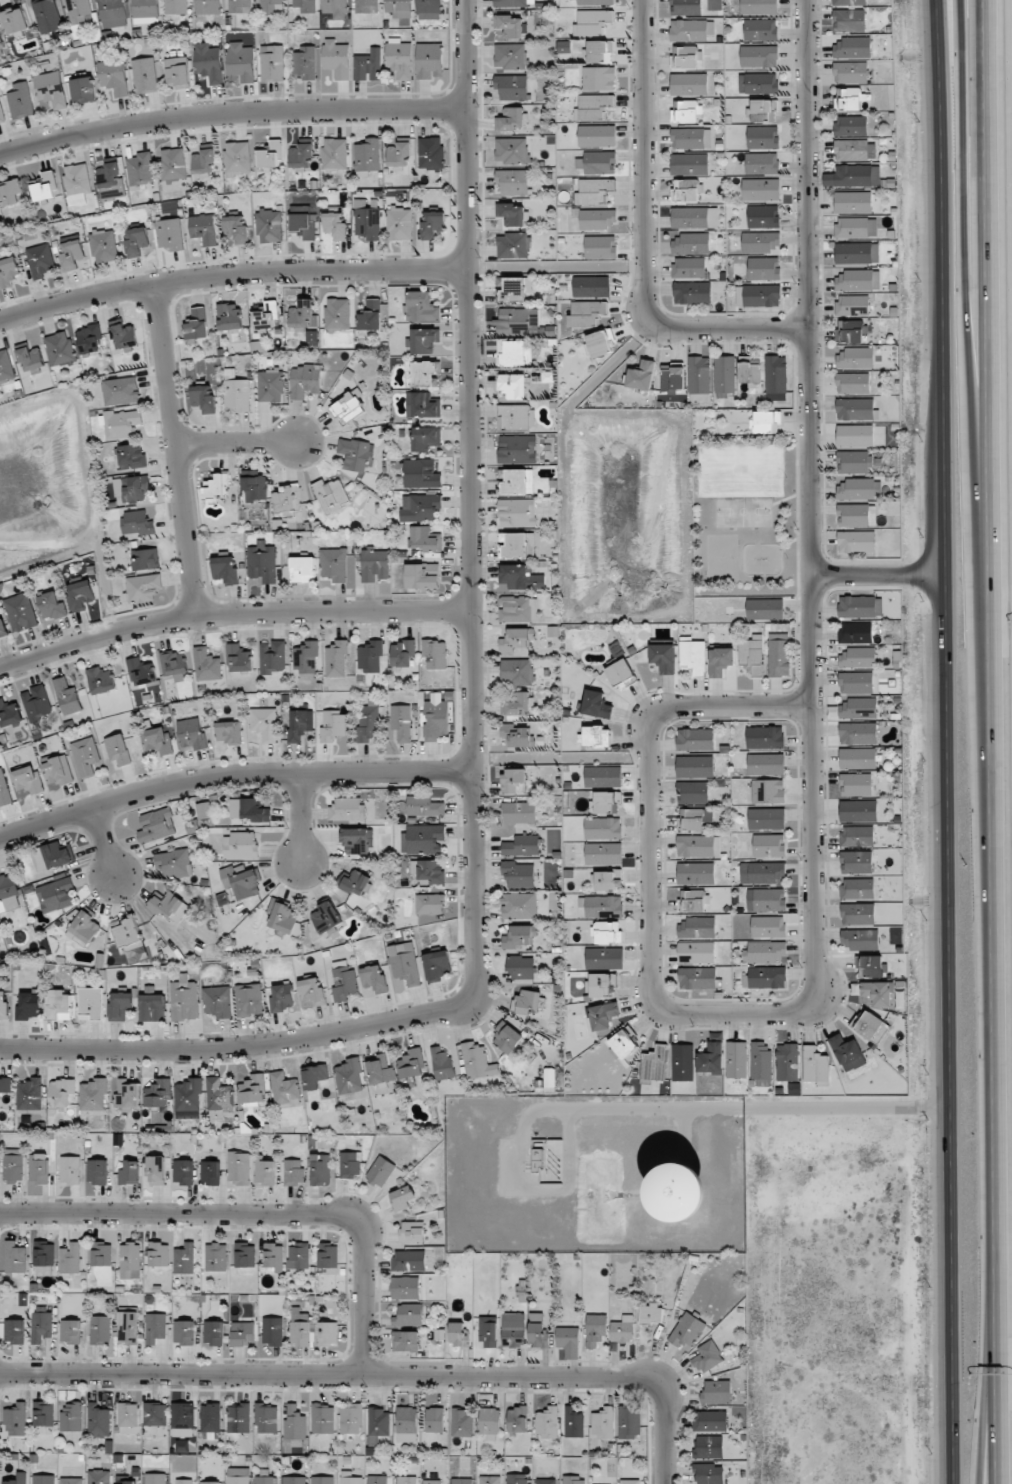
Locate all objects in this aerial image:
building: (595, 2)
building: (849, 2)
building: (513, 3)
building: (305, 5)
building: (176, 6)
building: (208, 6)
building: (240, 6)
building: (334, 6)
building: (366, 6)
building: (759, 6)
building: (272, 7)
building: (685, 7)
building: (397, 8)
building: (429, 9)
building: (145, 11)
building: (79, 12)
building: (113, 13)
building: (47, 15)
building: (15, 20)
building: (849, 20)
building: (592, 22)
building: (511, 26)
building: (760, 29)
building: (688, 30)
building: (1, 46)
building: (564, 47)
building: (852, 48)
building: (600, 51)
building: (510, 56)
building: (687, 56)
building: (759, 56)
building: (399, 57)
building: (336, 58)
building: (428, 59)
building: (208, 62)
building: (240, 62)
building: (304, 62)
building: (272, 63)
building: (368, 65)
building: (176, 71)
building: (851, 72)
building: (144, 75)
building: (114, 77)
building: (599, 78)
building: (758, 82)
building: (689, 84)
building: (511, 87)
building: (51, 89)
building: (84, 90)
building: (849, 99)
building: (20, 101)
building: (593, 106)
building: (764, 110)
building: (686, 111)
building: (1, 114)
road: (230, 115)
building: (510, 119)
building: (851, 125)
building: (597, 136)
building: (763, 137)
building: (690, 138)
building: (512, 150)
building: (855, 150)
building: (430, 152)
building: (334, 154)
building: (398, 154)
building: (270, 155)
building: (300, 155)
building: (368, 155)
building: (237, 158)
building: (599, 162)
building: (203, 163)
building: (762, 163)
building: (173, 164)
building: (689, 164)
building: (140, 168)
building: (853, 176)
building: (110, 180)
building: (513, 182)
building: (77, 183)
building: (45, 189)
building: (760, 189)
building: (686, 190)
building: (11, 191)
building: (594, 191)
building: (853, 202)
building: (512, 214)
building: (763, 216)
building: (694, 217)
building: (596, 219)
building: (367, 220)
building: (400, 223)
building: (303, 224)
building: (432, 224)
building: (335, 225)
building: (269, 226)
building: (855, 227)
building: (203, 229)
building: (235, 229)
building: (170, 234)
building: (136, 242)
building: (761, 242)
road: (644, 243)
building: (691, 243)
building: (104, 245)
building: (512, 245)
building: (600, 247)
building: (857, 253)
building: (71, 254)
building: (39, 260)
building: (689, 267)
building: (764, 268)
building: (8, 272)
road: (231, 274)
building: (858, 280)
building: (591, 286)
building: (514, 288)
building: (692, 292)
building: (758, 296)
building: (852, 305)
building: (421, 307)
building: (585, 313)
building: (337, 314)
building: (302, 315)
building: (370, 315)
building: (228, 316)
building: (266, 316)
building: (512, 320)
building: (196, 324)
building: (849, 331)
building: (125, 336)
building: (89, 339)
building: (424, 340)
building: (598, 344)
building: (60, 349)
road: (973, 350)
building: (511, 353)
building: (30, 358)
building: (855, 358)
building: (6, 367)
building: (749, 371)
building: (421, 374)
building: (776, 374)
building: (641, 375)
building: (724, 376)
building: (699, 378)
building: (304, 380)
building: (673, 380)
building: (853, 383)
building: (270, 386)
building: (513, 386)
building: (120, 391)
building: (236, 392)
building: (203, 398)
building: (422, 405)
building: (348, 407)
building: (854, 409)
building: (513, 416)
building: (766, 422)
building: (120, 423)
building: (855, 435)
building: (426, 438)
road: (237, 444)
building: (517, 448)
road: (177, 452)
building: (356, 454)
building: (131, 456)
building: (853, 462)
building: (421, 474)
building: (517, 481)
building: (216, 487)
building: (255, 488)
building: (136, 489)
building: (856, 489)
building: (331, 495)
road: (791, 497)
building: (287, 498)
road: (471, 503)
building: (420, 507)
park: (744, 511)
building: (517, 512)
park: (746, 515)
building: (856, 515)
building: (137, 522)
road: (795, 538)
building: (426, 539)
building: (856, 541)
building: (517, 544)
building: (144, 559)
building: (262, 562)
building: (337, 565)
building: (374, 565)
building: (301, 569)
building: (225, 570)
road: (879, 573)
building: (422, 575)
building: (520, 577)
building: (142, 587)
road: (812, 588)
building: (80, 595)
building: (50, 605)
building: (860, 606)
building: (518, 609)
building: (764, 609)
building: (20, 612)
road: (232, 616)
building: (2, 627)
building: (855, 632)
building: (517, 640)
building: (402, 653)
building: (434, 654)
building: (752, 654)
building: (692, 655)
building: (778, 655)
building: (272, 656)
building: (369, 656)
building: (663, 657)
building: (856, 657)
building: (239, 658)
building: (335, 658)
building: (306, 660)
building: (720, 661)
building: (173, 663)
building: (206, 665)
building: (516, 671)
building: (140, 672)
building: (620, 673)
building: (100, 680)
building: (856, 682)
building: (67, 697)
building: (36, 703)
building: (517, 703)
building: (596, 704)
building: (9, 714)
building: (436, 718)
building: (368, 721)
building: (401, 722)
building: (264, 723)
building: (333, 725)
building: (297, 726)
building: (228, 732)
building: (858, 733)
building: (191, 734)
building: (516, 735)
building: (764, 737)
building: (695, 739)
building: (157, 740)
road: (948, 741)
road: (990, 742)
building: (118, 749)
building: (85, 756)
building: (857, 758)
building: (766, 764)
building: (695, 766)
building: (57, 771)
building: (603, 775)
road: (649, 776)
road: (232, 777)
building: (27, 779)
building: (512, 779)
building: (856, 784)
building: (4, 791)
building: (768, 791)
building: (692, 792)
building: (606, 802)
building: (424, 806)
building: (347, 809)
building: (248, 810)
building: (858, 810)
building: (519, 812)
road: (304, 818)
building: (766, 818)
building: (156, 825)
building: (603, 828)
building: (857, 836)
building: (425, 839)
building: (356, 840)
road: (106, 841)
building: (240, 845)
building: (521, 845)
building: (769, 845)
building: (698, 846)
building: (603, 853)
building: (53, 856)
building: (856, 862)
building: (173, 864)
building: (430, 871)
building: (766, 872)
building: (696, 873)
building: (519, 874)
building: (608, 880)
building: (242, 882)
building: (356, 883)
building: (857, 888)
building: (8, 893)
building: (56, 894)
building: (693, 900)
building: (766, 900)
building: (429, 904)
building: (519, 905)
building: (169, 906)
building: (600, 906)
building: (857, 914)
building: (326, 917)
building: (284, 918)
building: (84, 927)
building: (697, 927)
building: (768, 927)
building: (607, 933)
building: (128, 934)
building: (518, 937)
building: (859, 939)
building: (696, 952)
building: (765, 952)
building: (604, 957)
building: (404, 964)
building: (438, 965)
building: (870, 966)
building: (521, 967)
building: (767, 977)
building: (698, 978)
building: (344, 983)
building: (312, 991)
building: (878, 992)
building: (281, 997)
building: (184, 999)
building: (248, 999)
building: (898, 999)
building: (217, 1001)
building: (527, 1001)
building: (90, 1003)
building: (3, 1005)
building: (58, 1005)
building: (29, 1006)
building: (120, 1006)
building: (152, 1007)
building: (603, 1015)
building: (872, 1027)
building: (507, 1037)
building: (623, 1043)
road: (239, 1048)
building: (845, 1049)
building: (711, 1058)
building: (737, 1059)
building: (477, 1061)
building: (761, 1061)
building: (683, 1062)
building: (787, 1062)
building: (411, 1064)
building: (442, 1064)
building: (655, 1064)
building: (815, 1066)
building: (379, 1069)
building: (314, 1076)
building: (349, 1076)
building: (549, 1080)
building: (5, 1085)
building: (253, 1089)
building: (284, 1089)
building: (61, 1092)
building: (158, 1093)
building: (29, 1094)
building: (127, 1094)
building: (93, 1095)
building: (219, 1095)
building: (188, 1098)
road: (639, 1108)
building: (547, 1157)
building: (349, 1164)
building: (13, 1165)
building: (39, 1168)
building: (239, 1168)
building: (320, 1169)
building: (70, 1170)
building: (156, 1170)
building: (97, 1171)
building: (264, 1171)
building: (380, 1171)
building: (183, 1172)
building: (210, 1172)
building: (293, 1172)
building: (130, 1173)
building: (685, 1192)
building: (402, 1198)
road: (261, 1215)
building: (412, 1231)
building: (102, 1253)
building: (158, 1254)
building: (245, 1254)
building: (298, 1255)
building: (328, 1255)
building: (15, 1257)
building: (216, 1257)
building: (44, 1258)
building: (70, 1258)
building: (129, 1258)
building: (185, 1258)
building: (273, 1258)
building: (408, 1260)
building: (405, 1287)
building: (650, 1313)
building: (408, 1315)
building: (41, 1324)
building: (128, 1327)
building: (155, 1327)
building: (300, 1327)
building: (513, 1329)
building: (623, 1329)
building: (100, 1330)
building: (595, 1330)
building: (686, 1330)
building: (14, 1331)
building: (70, 1331)
building: (272, 1331)
building: (488, 1331)
building: (537, 1331)
building: (184, 1332)
building: (213, 1333)
building: (243, 1333)
building: (327, 1333)
building: (458, 1334)
building: (405, 1341)
building: (568, 1341)
building: (707, 1357)
road: (335, 1376)
building: (716, 1392)
road: (991, 1403)
building: (44, 1413)
building: (155, 1414)
building: (71, 1416)
building: (127, 1417)
building: (266, 1417)
building: (210, 1418)
building: (238, 1418)
building: (322, 1418)
building: (182, 1419)
building: (351, 1419)
building: (434, 1419)
building: (16, 1420)
building: (98, 1420)
building: (517, 1420)
building: (710, 1421)
building: (462, 1422)
building: (573, 1422)
building: (629, 1422)
building: (295, 1423)
building: (490, 1423)
building: (547, 1423)
building: (602, 1423)
building: (406, 1424)
building: (378, 1425)
road: (670, 1431)
building: (181, 1446)
building: (708, 1447)
building: (709, 1474)
building: (238, 1475)
building: (99, 1477)
building: (155, 1478)
building: (349, 1478)
building: (18, 1479)
building: (43, 1479)
building: (377, 1479)
building: (519, 1479)
building: (71, 1480)
building: (265, 1480)
building: (294, 1480)
building: (322, 1480)
building: (406, 1480)
building: (433, 1480)
building: (489, 1480)
building: (574, 1480)
building: (125, 1481)
building: (182, 1481)
building: (462, 1481)
building: (546, 1481)
building: (210, 1482)
building: (630, 1482)

